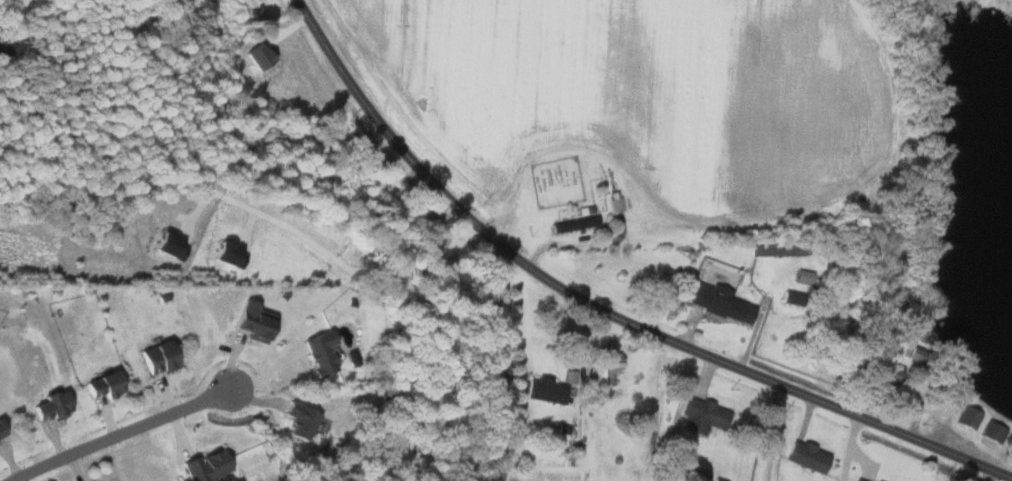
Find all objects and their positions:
park: (558, 182)
building: (616, 204)
building: (574, 224)
building: (775, 250)
road: (344, 257)
building: (802, 276)
building: (789, 298)
building: (719, 303)
road: (603, 309)
building: (251, 322)
building: (317, 352)
building: (155, 358)
road: (499, 362)
building: (886, 371)
building: (101, 385)
building: (544, 390)
building: (49, 406)
building: (702, 416)
building: (967, 417)
building: (298, 421)
building: (0, 432)
road: (774, 432)
building: (991, 432)
road: (119, 433)
road: (844, 447)
building: (805, 457)
building: (204, 466)
building: (687, 474)
building: (855, 480)

